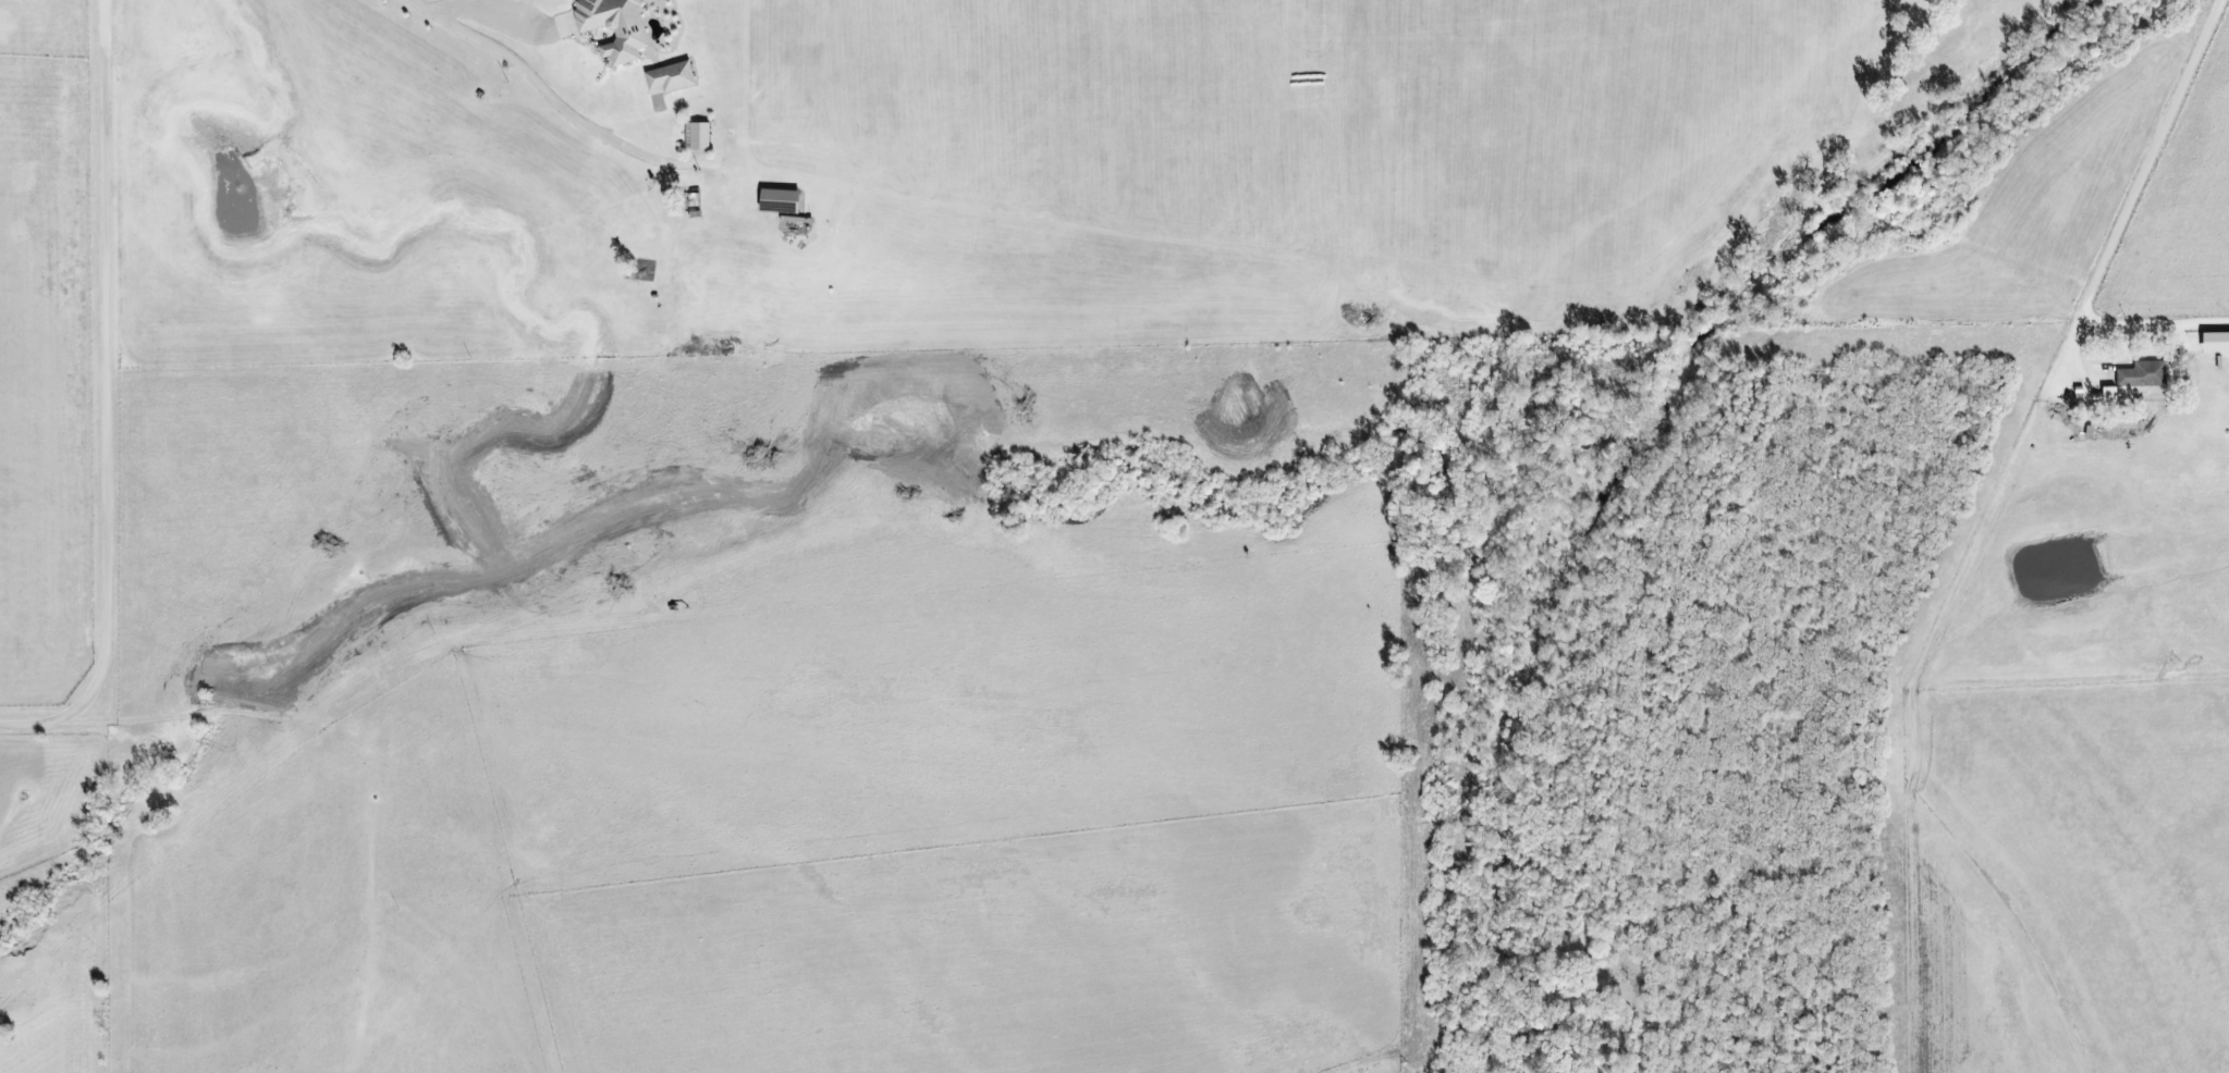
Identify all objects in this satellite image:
building: (615, 26)
building: (671, 76)
building: (697, 135)
building: (780, 199)
road: (2117, 229)
building: (2216, 342)
building: (2136, 378)
road: (109, 398)

